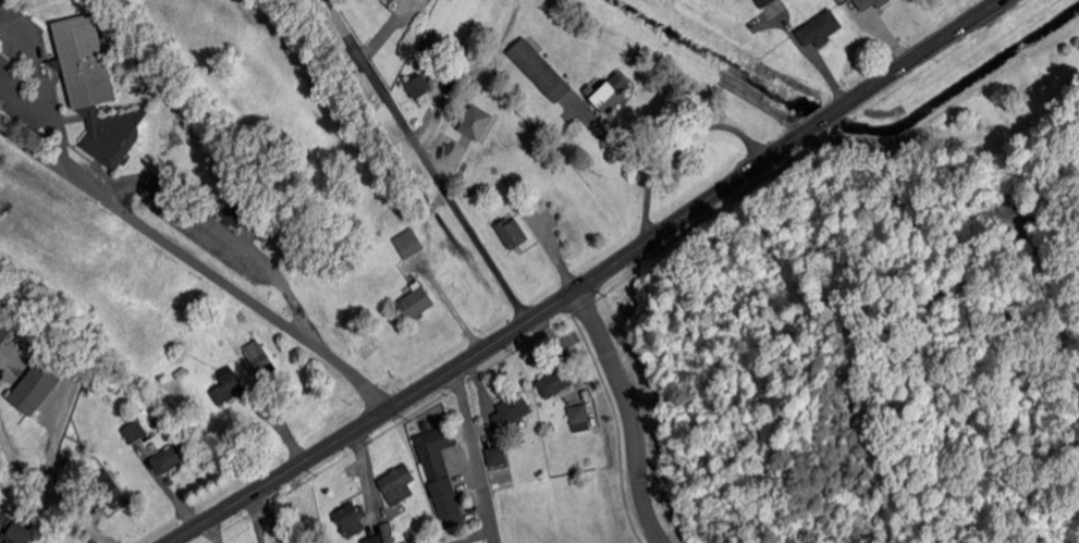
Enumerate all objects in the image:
building: (391, 0)
building: (764, 2)
building: (866, 3)
building: (821, 29)
building: (424, 53)
building: (539, 71)
building: (418, 87)
building: (93, 89)
building: (609, 92)
building: (474, 121)
road: (709, 124)
road: (643, 156)
road: (416, 165)
building: (478, 193)
building: (234, 214)
building: (266, 217)
road: (219, 233)
building: (511, 233)
building: (408, 244)
road: (197, 264)
road: (590, 280)
building: (414, 304)
road: (445, 305)
building: (240, 314)
building: (3, 331)
building: (258, 359)
building: (555, 380)
building: (38, 384)
building: (226, 386)
building: (510, 410)
road: (625, 415)
building: (578, 418)
building: (133, 432)
road: (476, 455)
building: (496, 456)
building: (170, 458)
building: (440, 473)
building: (397, 485)
building: (110, 490)
road: (272, 519)
building: (351, 519)
road: (214, 530)
building: (387, 533)
building: (20, 534)
building: (372, 540)
building: (402, 542)

